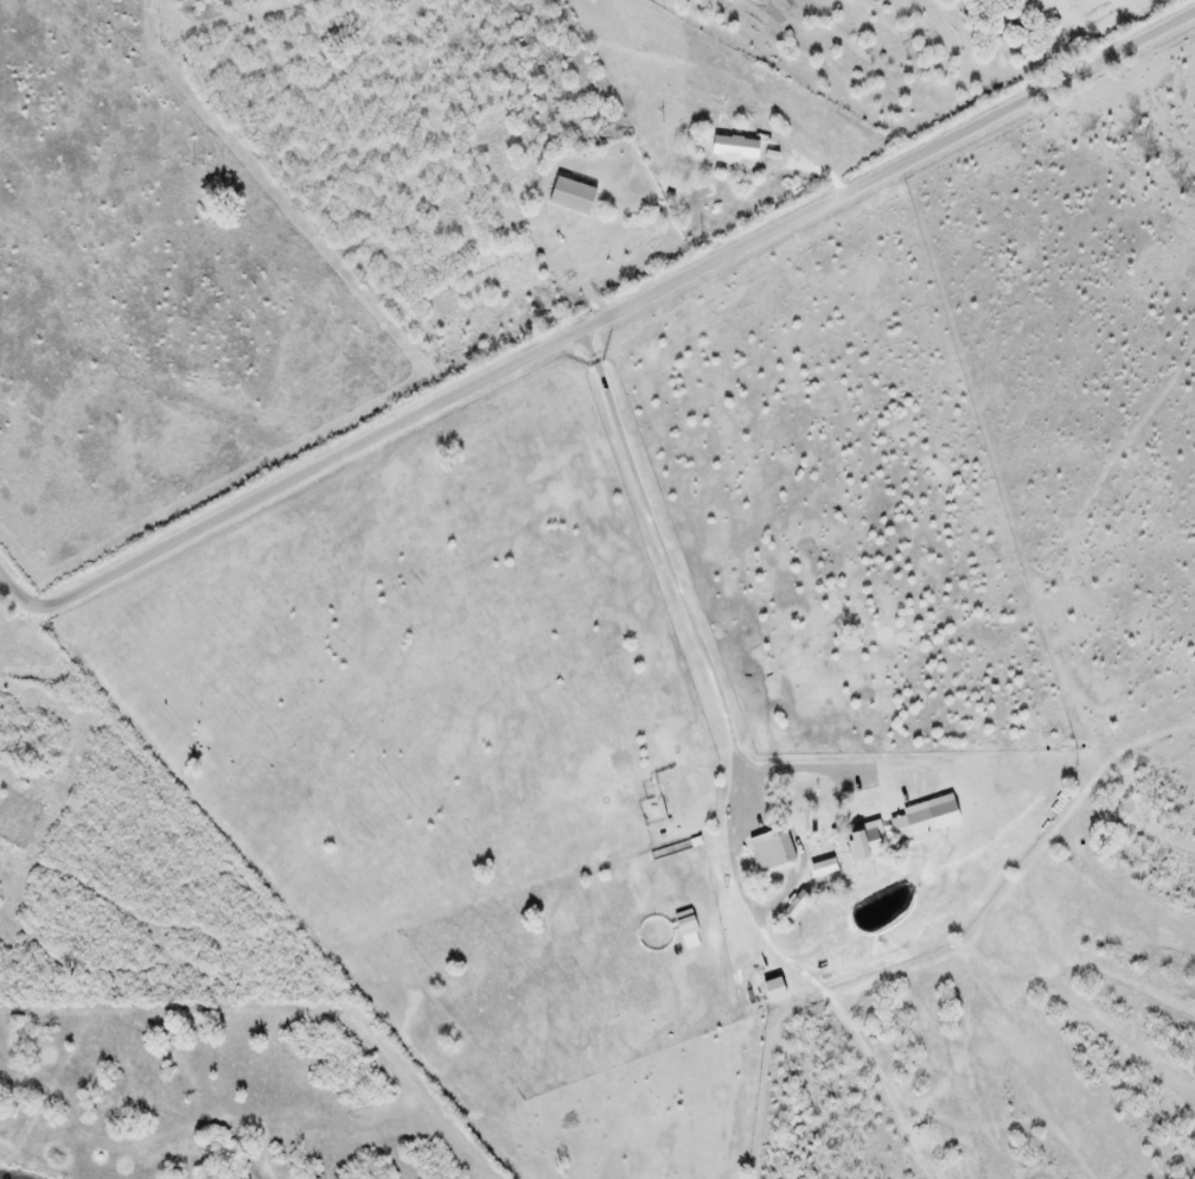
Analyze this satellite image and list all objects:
building: (731, 147)
building: (568, 195)
road: (595, 320)
road: (670, 574)
building: (914, 821)
building: (863, 841)
building: (768, 847)

